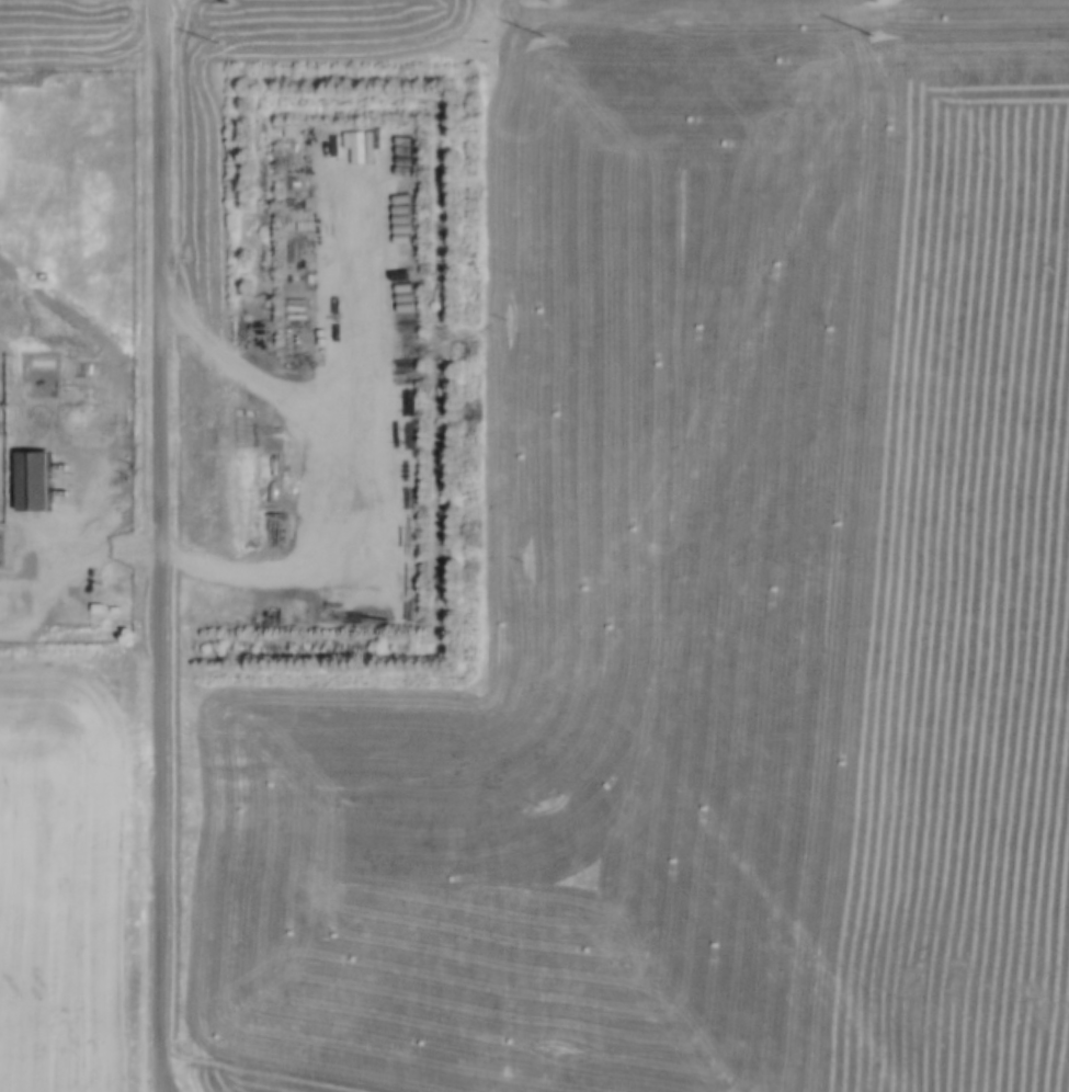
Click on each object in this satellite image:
building: (35, 480)
road: (163, 542)
road: (162, 1089)

